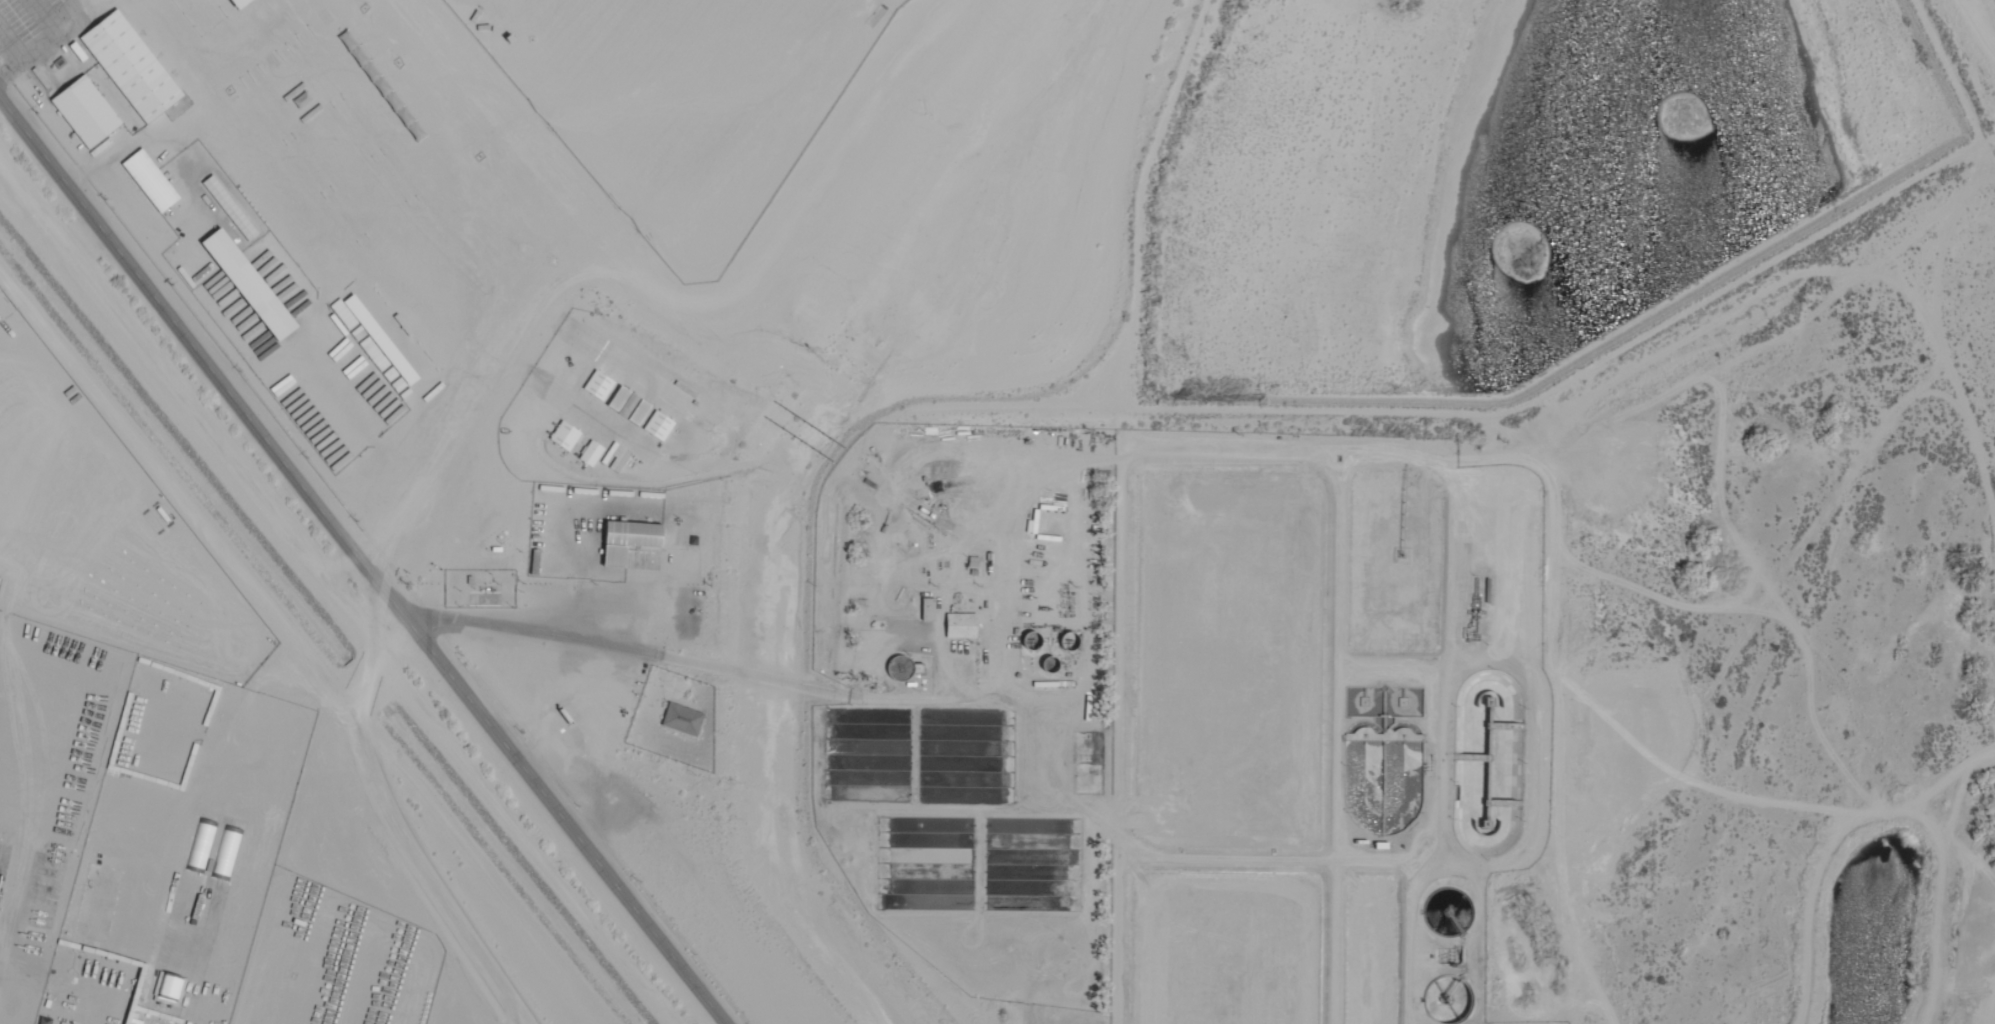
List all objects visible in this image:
building: (237, 3)
road: (1981, 25)
building: (133, 68)
building: (383, 87)
building: (87, 114)
road: (742, 158)
building: (152, 183)
building: (251, 286)
road: (534, 289)
building: (630, 540)
road: (357, 567)
road: (334, 609)
building: (929, 610)
building: (962, 626)
building: (903, 668)
road: (346, 690)
building: (683, 720)
wastewater plant: (1201, 721)
building: (4, 868)
building: (45, 913)

